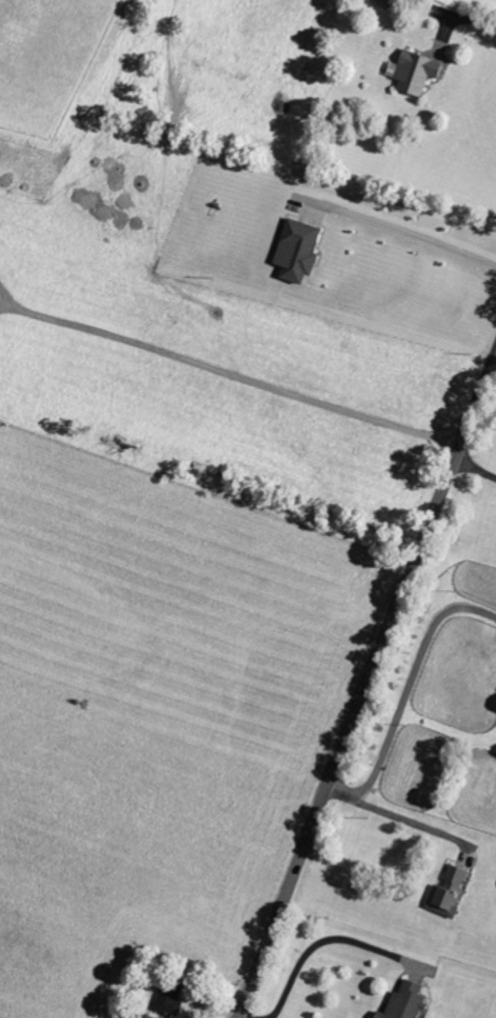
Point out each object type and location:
road: (456, 17)
building: (418, 72)
road: (413, 236)
building: (300, 250)
road: (223, 372)
road: (474, 467)
road: (367, 685)
road: (404, 685)
road: (401, 819)
road: (322, 939)
building: (171, 1001)
building: (408, 1002)
road: (242, 1017)

